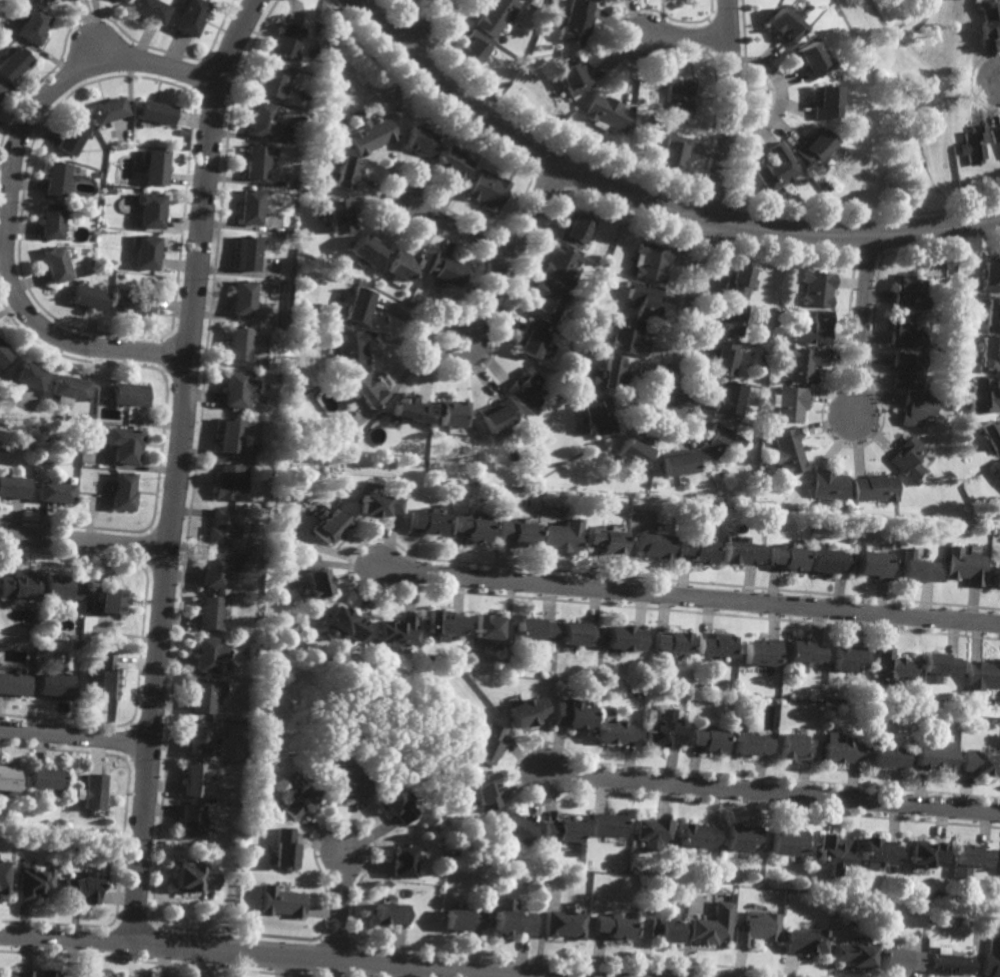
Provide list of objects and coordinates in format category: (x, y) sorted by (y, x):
building: (68, 0)
building: (121, 0)
building: (44, 1)
building: (603, 1)
building: (149, 9)
building: (497, 15)
building: (190, 16)
building: (989, 21)
building: (575, 23)
road: (425, 25)
building: (782, 25)
building: (32, 27)
road: (903, 34)
road: (688, 36)
building: (285, 41)
building: (473, 49)
building: (312, 53)
building: (807, 61)
building: (13, 63)
building: (573, 77)
building: (271, 80)
road: (990, 81)
building: (509, 85)
building: (0, 87)
building: (0, 89)
building: (306, 94)
building: (559, 95)
road: (779, 95)
building: (680, 99)
park: (912, 99)
building: (822, 102)
building: (106, 109)
building: (155, 111)
building: (562, 112)
building: (607, 114)
building: (673, 119)
building: (259, 120)
building: (672, 124)
building: (995, 134)
building: (69, 136)
building: (369, 136)
building: (301, 141)
building: (420, 142)
building: (812, 146)
building: (973, 146)
building: (673, 152)
building: (255, 162)
building: (455, 165)
building: (154, 167)
building: (776, 168)
building: (345, 174)
building: (55, 179)
building: (801, 182)
building: (825, 186)
building: (786, 188)
building: (304, 190)
building: (489, 192)
road: (9, 196)
road: (646, 201)
road: (713, 204)
building: (249, 208)
building: (149, 210)
building: (337, 216)
building: (52, 218)
road: (458, 229)
building: (289, 230)
building: (573, 232)
road: (514, 244)
building: (146, 252)
building: (366, 252)
building: (245, 255)
building: (55, 264)
building: (650, 264)
building: (404, 268)
building: (560, 268)
building: (448, 272)
building: (990, 278)
building: (736, 284)
building: (817, 289)
building: (908, 293)
building: (89, 297)
building: (241, 297)
building: (642, 301)
building: (546, 302)
building: (135, 303)
building: (357, 306)
building: (991, 317)
building: (272, 320)
building: (729, 320)
road: (861, 325)
building: (815, 328)
building: (903, 332)
building: (533, 337)
building: (626, 337)
building: (237, 341)
building: (349, 344)
building: (4, 353)
road: (428, 354)
building: (988, 354)
building: (721, 356)
building: (803, 363)
building: (907, 368)
building: (608, 370)
building: (572, 375)
building: (27, 376)
building: (235, 386)
building: (69, 387)
building: (368, 388)
building: (526, 389)
building: (127, 393)
building: (981, 393)
building: (730, 398)
building: (790, 402)
building: (408, 407)
building: (918, 407)
building: (452, 410)
building: (496, 413)
building: (594, 413)
building: (229, 433)
building: (992, 433)
building: (718, 439)
building: (123, 444)
building: (630, 450)
building: (786, 450)
building: (908, 458)
building: (674, 460)
building: (924, 460)
road: (177, 465)
building: (998, 469)
building: (230, 479)
building: (827, 483)
building: (14, 486)
building: (874, 487)
building: (56, 491)
building: (123, 492)
building: (376, 503)
building: (423, 520)
building: (328, 524)
building: (469, 525)
building: (222, 527)
building: (516, 531)
building: (558, 537)
building: (599, 538)
road: (84, 544)
building: (649, 544)
building: (692, 549)
building: (736, 550)
building: (784, 557)
building: (827, 560)
building: (873, 564)
building: (964, 565)
building: (215, 569)
building: (917, 569)
building: (995, 576)
building: (314, 581)
building: (22, 584)
building: (65, 586)
road: (687, 597)
building: (112, 600)
building: (211, 612)
building: (341, 624)
building: (443, 624)
building: (533, 629)
building: (488, 630)
building: (397, 631)
building: (575, 634)
building: (622, 638)
building: (668, 642)
building: (713, 645)
building: (760, 653)
building: (803, 653)
building: (210, 654)
building: (849, 658)
building: (891, 666)
building: (937, 666)
building: (982, 674)
building: (108, 676)
building: (54, 682)
building: (13, 683)
building: (786, 689)
building: (833, 691)
building: (206, 695)
building: (526, 712)
building: (569, 715)
building: (614, 732)
building: (660, 735)
building: (199, 738)
road: (75, 739)
building: (706, 739)
building: (487, 744)
building: (749, 745)
building: (796, 747)
building: (841, 751)
building: (931, 755)
building: (885, 757)
building: (976, 764)
building: (8, 779)
building: (44, 780)
building: (195, 781)
building: (346, 787)
building: (486, 792)
building: (92, 793)
building: (252, 793)
road: (771, 793)
building: (298, 801)
building: (395, 804)
building: (192, 822)
building: (52, 826)
building: (605, 826)
building: (515, 831)
building: (560, 832)
building: (652, 833)
building: (697, 837)
building: (742, 838)
building: (788, 843)
building: (832, 850)
building: (281, 852)
building: (876, 852)
building: (923, 854)
building: (965, 860)
building: (404, 862)
building: (997, 863)
building: (4, 878)
building: (193, 879)
building: (34, 885)
building: (81, 890)
building: (280, 904)
road: (340, 905)
building: (390, 913)
building: (508, 918)
building: (466, 919)
building: (561, 927)
building: (712, 927)
building: (610, 929)
building: (660, 929)
building: (757, 930)
building: (804, 942)
road: (268, 953)
building: (853, 957)
building: (991, 959)
building: (899, 961)
building: (947, 964)
building: (44, 972)
building: (17, 973)
building: (108, 975)
road: (656, 976)

